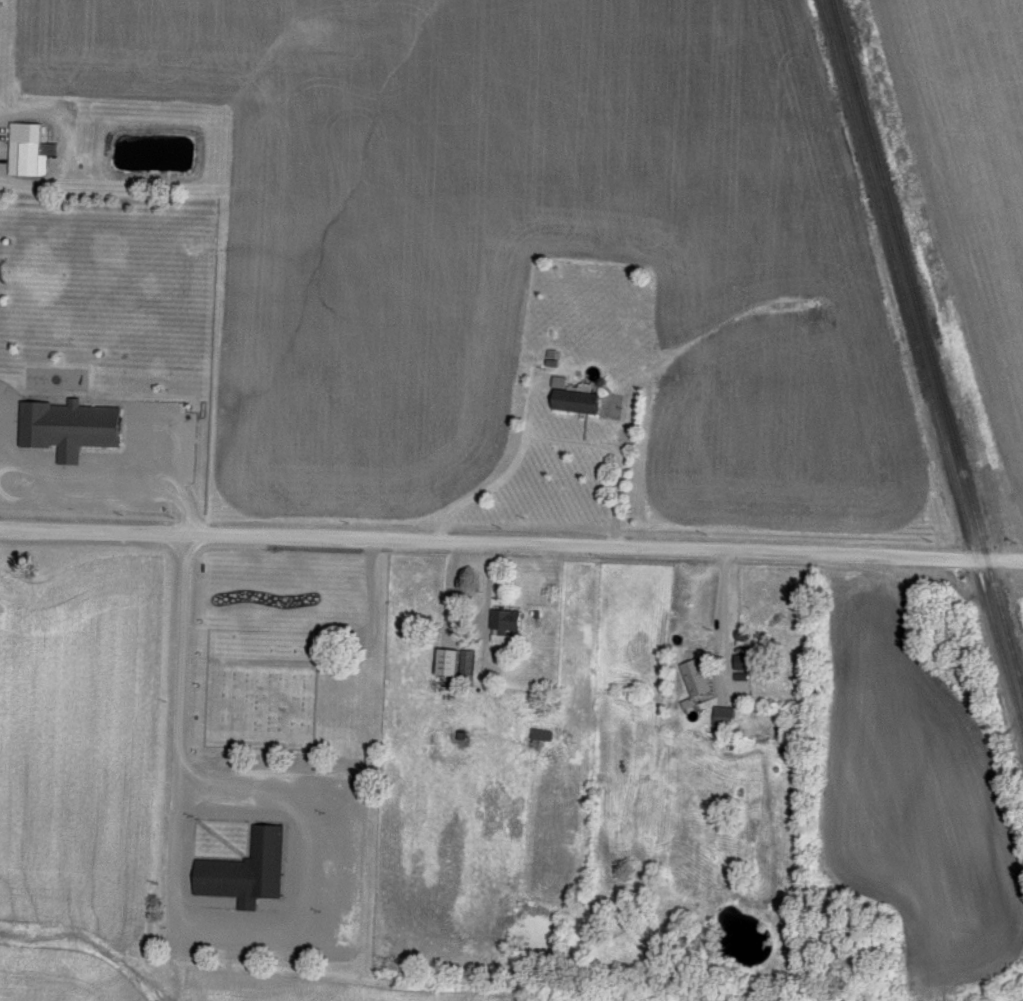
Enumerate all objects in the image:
building: (30, 150)
railway: (926, 345)
railway: (921, 366)
building: (578, 402)
building: (71, 428)
road: (621, 463)
road: (511, 544)
road: (185, 594)
road: (367, 622)
road: (726, 624)
building: (505, 625)
building: (457, 663)
building: (696, 678)
park: (261, 689)
building: (725, 718)
building: (543, 736)
building: (248, 871)
road: (175, 929)

